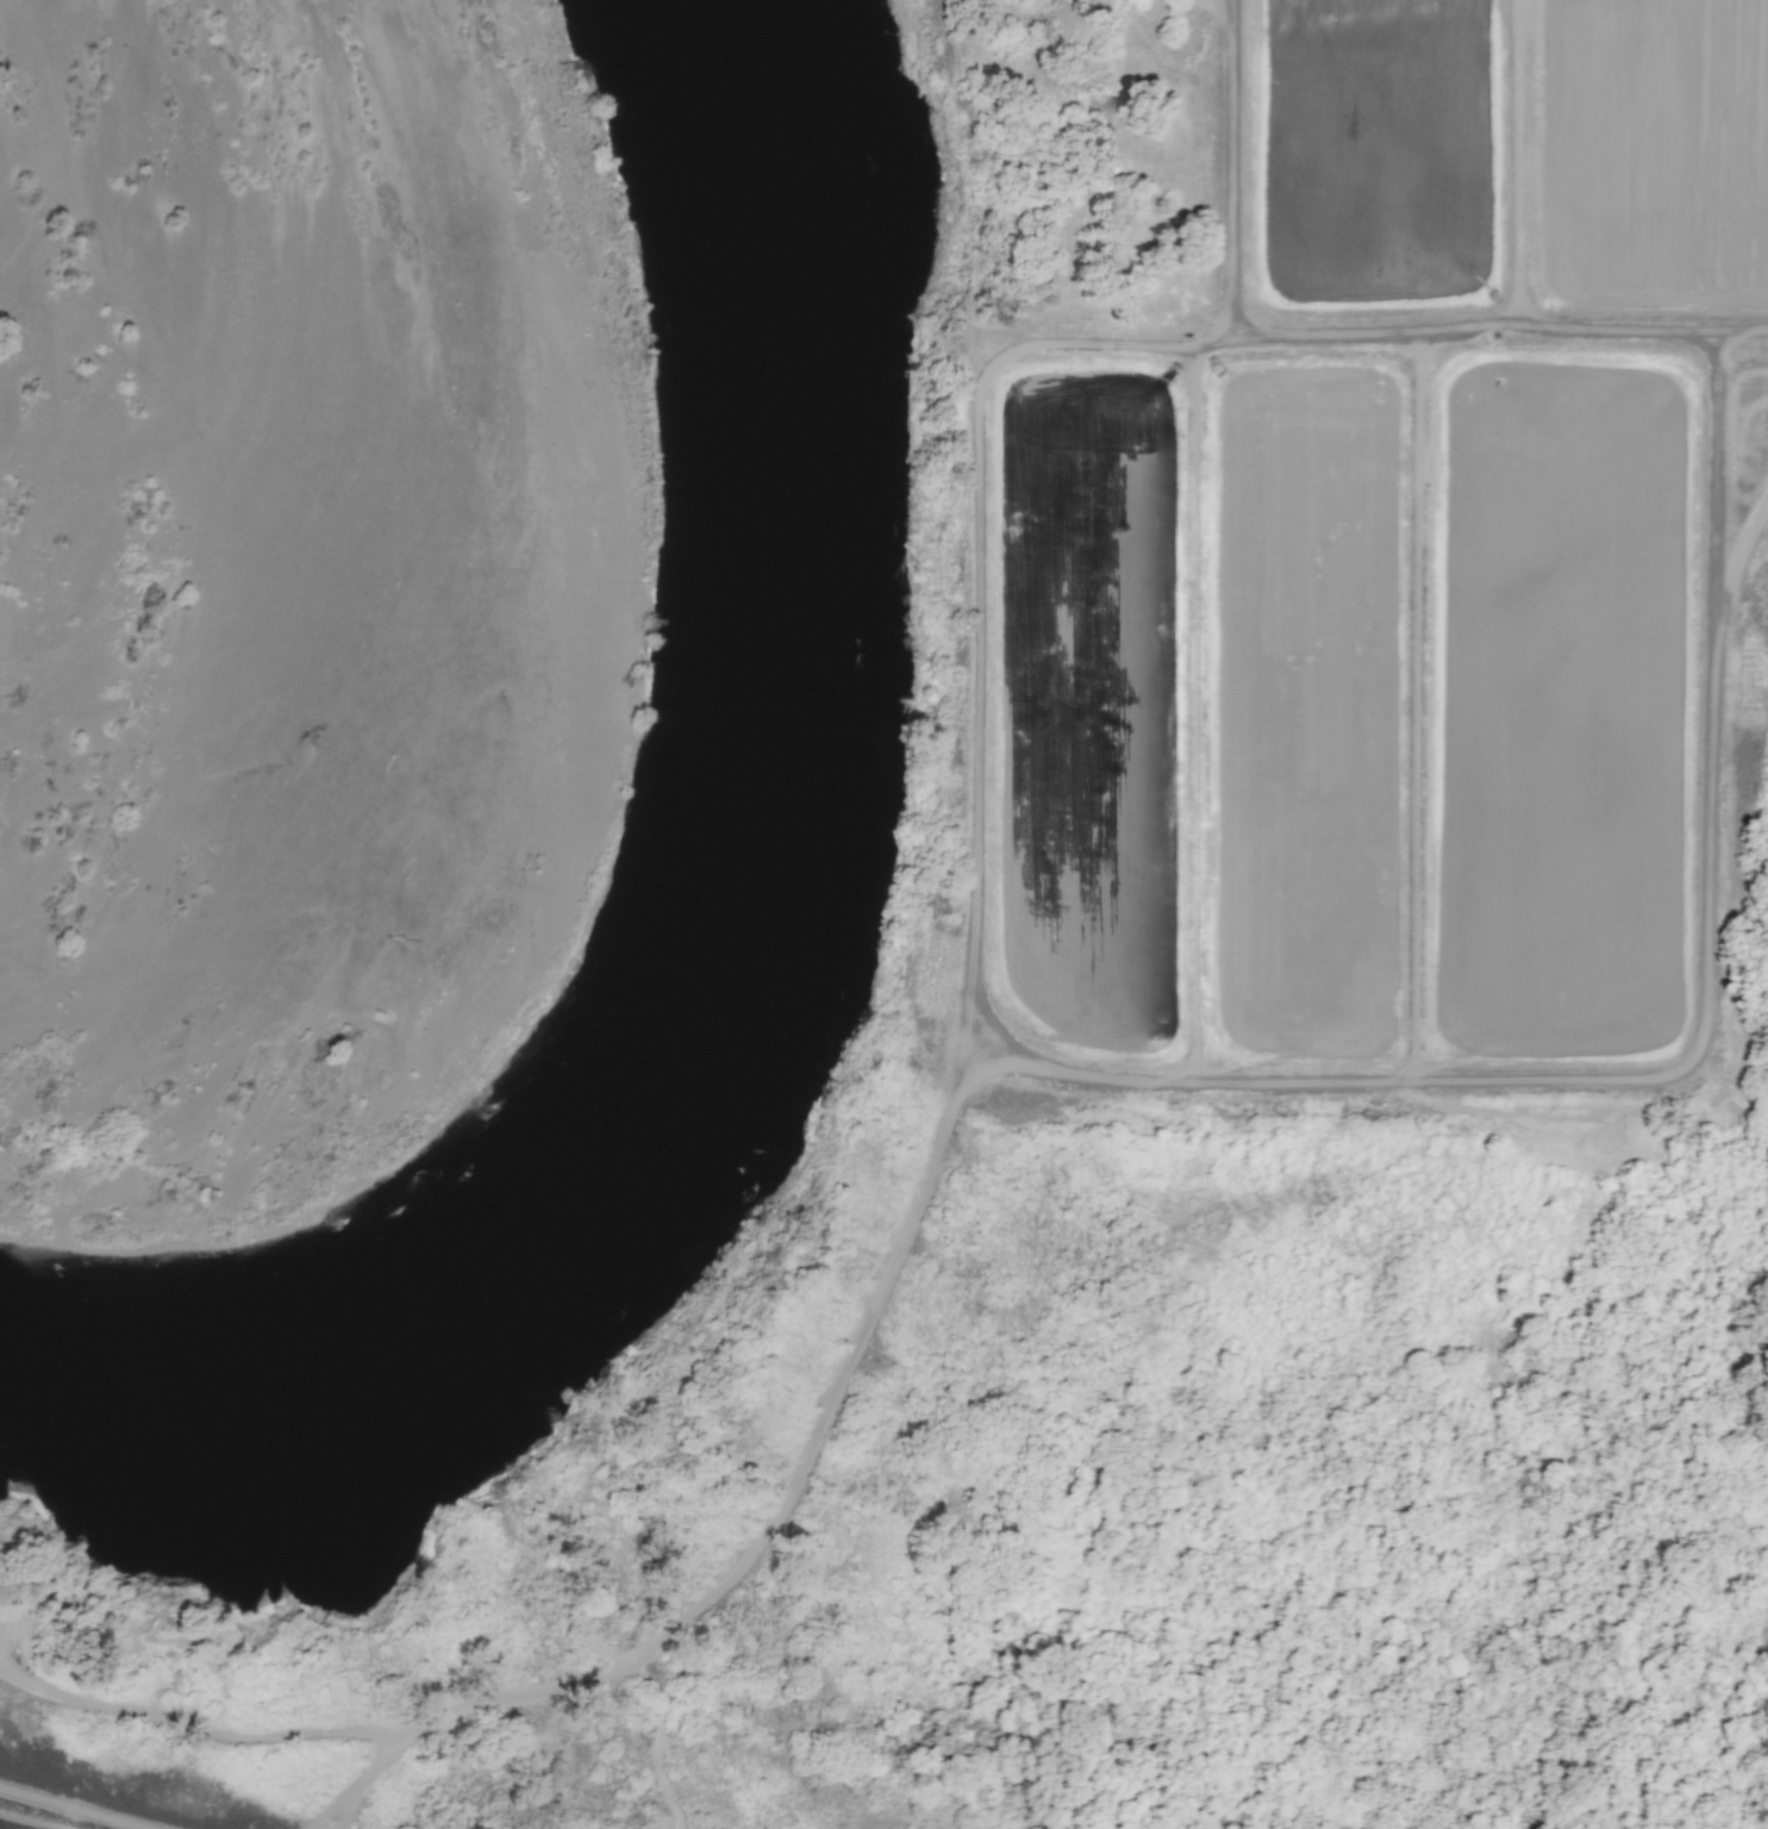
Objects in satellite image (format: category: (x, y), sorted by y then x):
river: (751, 956)
crop: (7, 1827)

